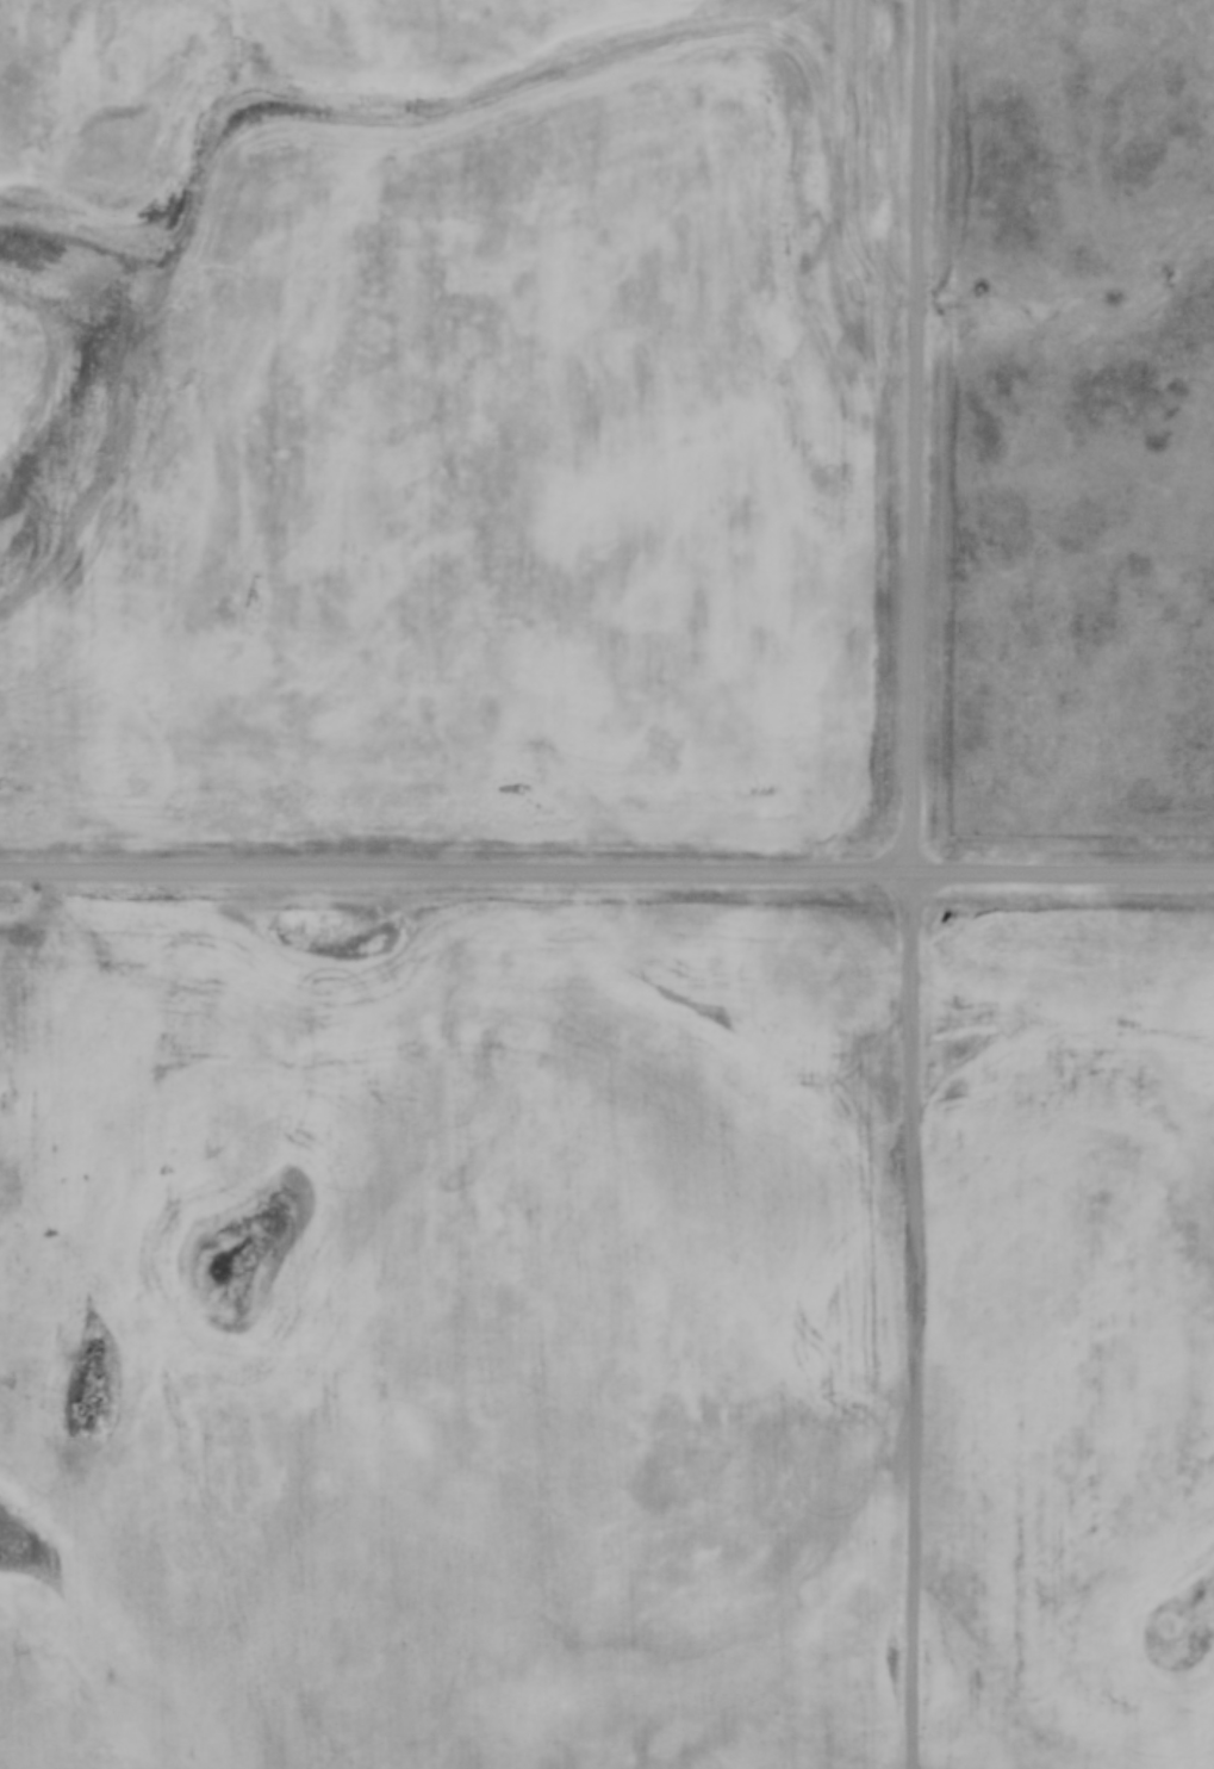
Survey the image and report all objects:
road: (917, 436)
road: (606, 873)
road: (914, 1321)

